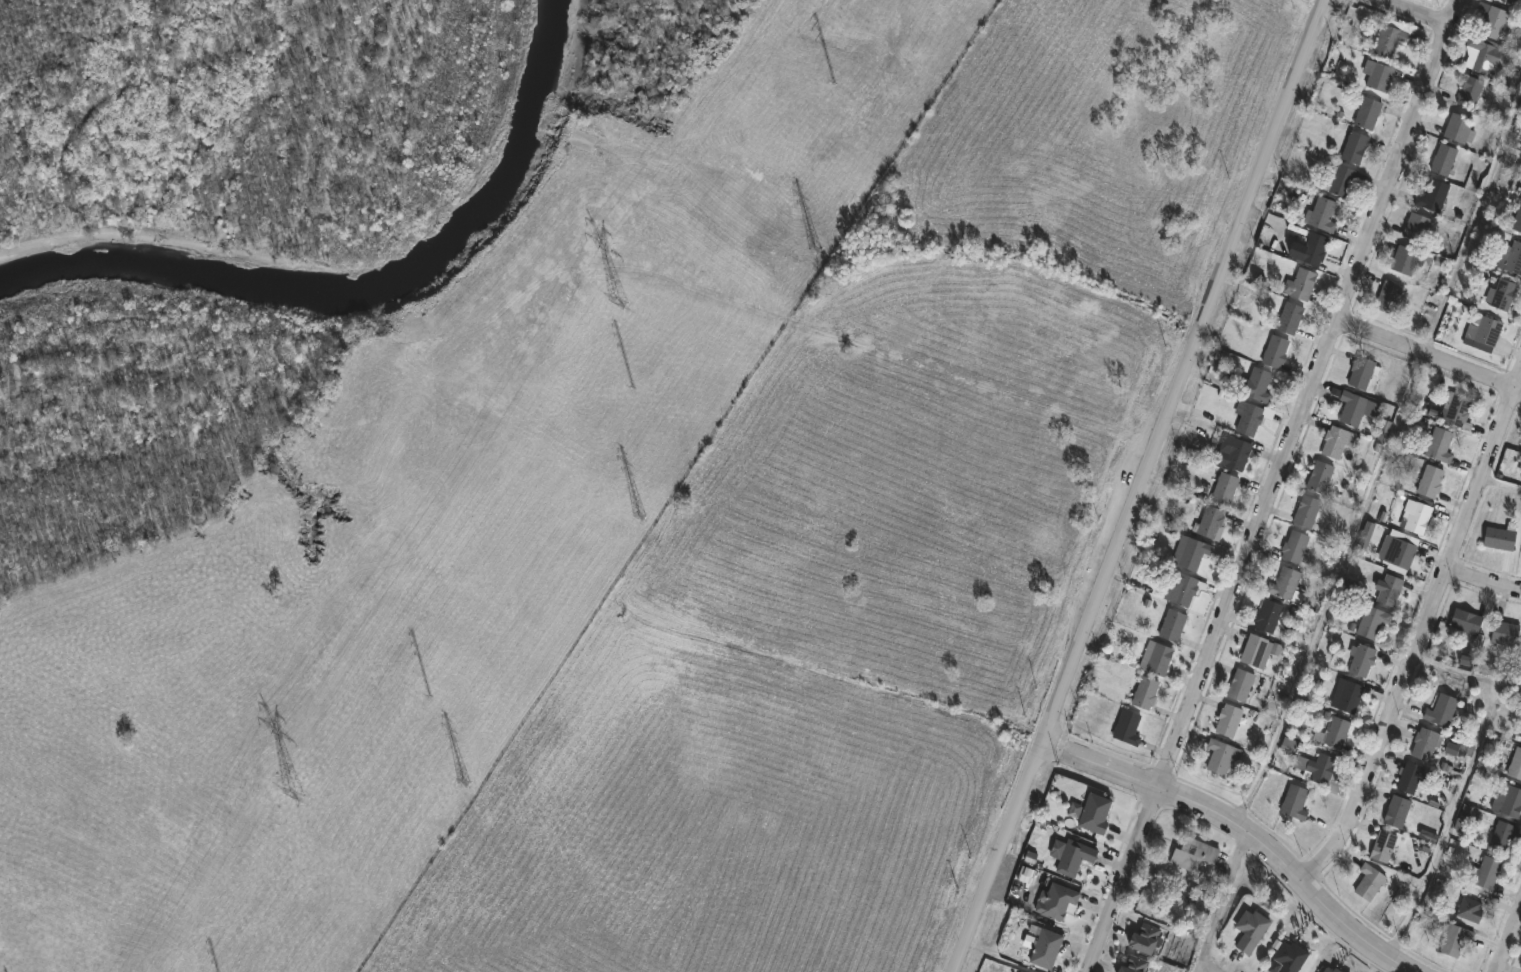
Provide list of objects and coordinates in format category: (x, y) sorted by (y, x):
building: (1513, 1)
road: (1413, 14)
building: (1494, 20)
building: (1390, 36)
building: (1483, 52)
building: (1378, 74)
power tower: (836, 84)
building: (1471, 90)
building: (1368, 112)
building: (1460, 127)
building: (1354, 146)
building: (1442, 159)
building: (1341, 178)
building: (1433, 194)
building: (1321, 213)
building: (1517, 218)
building: (1417, 226)
building: (1309, 245)
power tower: (822, 250)
building: (1511, 257)
building: (1406, 259)
building: (1300, 284)
building: (1501, 293)
building: (1388, 295)
power tower: (619, 299)
building: (1289, 316)
building: (1484, 329)
building: (1275, 351)
road: (1429, 352)
road: (1186, 371)
building: (1361, 372)
building: (1255, 385)
power tower: (633, 389)
building: (1356, 406)
building: (1456, 409)
building: (1250, 416)
building: (1337, 440)
building: (1440, 444)
building: (1234, 451)
road: (1385, 462)
building: (1320, 476)
building: (1430, 480)
road: (1274, 485)
road: (1502, 485)
building: (1225, 487)
building: (1307, 510)
building: (1418, 514)
power tower: (641, 521)
building: (1209, 521)
building: (1501, 536)
building: (1296, 546)
building: (1401, 551)
building: (1189, 552)
road: (1484, 580)
building: (1286, 584)
building: (1183, 588)
building: (1390, 589)
building: (1268, 616)
building: (1466, 620)
building: (1372, 621)
building: (1172, 624)
building: (1504, 633)
road: (1423, 636)
building: (1258, 650)
building: (1159, 659)
building: (1361, 659)
road: (1466, 679)
building: (1240, 684)
building: (1145, 691)
building: (1348, 694)
power tower: (430, 695)
building: (1442, 709)
building: (1228, 719)
building: (1127, 727)
building: (1337, 732)
building: (1425, 743)
building: (1219, 755)
building: (1515, 764)
building: (1322, 772)
power tower: (299, 774)
building: (1409, 777)
power tower: (468, 782)
building: (1508, 800)
building: (1295, 801)
building: (1396, 811)
building: (1094, 813)
building: (1464, 817)
park: (710, 823)
road: (1452, 825)
road: (1247, 828)
building: (1502, 835)
building: (1384, 845)
building: (1193, 854)
building: (1074, 856)
road: (998, 857)
building: (1487, 872)
building: (1369, 881)
building: (1055, 900)
road: (1229, 903)
building: (1469, 909)
building: (1250, 930)
building: (1145, 937)
building: (1454, 937)
road: (1510, 943)
building: (1046, 947)
building: (1289, 956)
building: (1133, 964)
building: (1331, 969)
building: (1021, 971)
building: (1025, 971)

